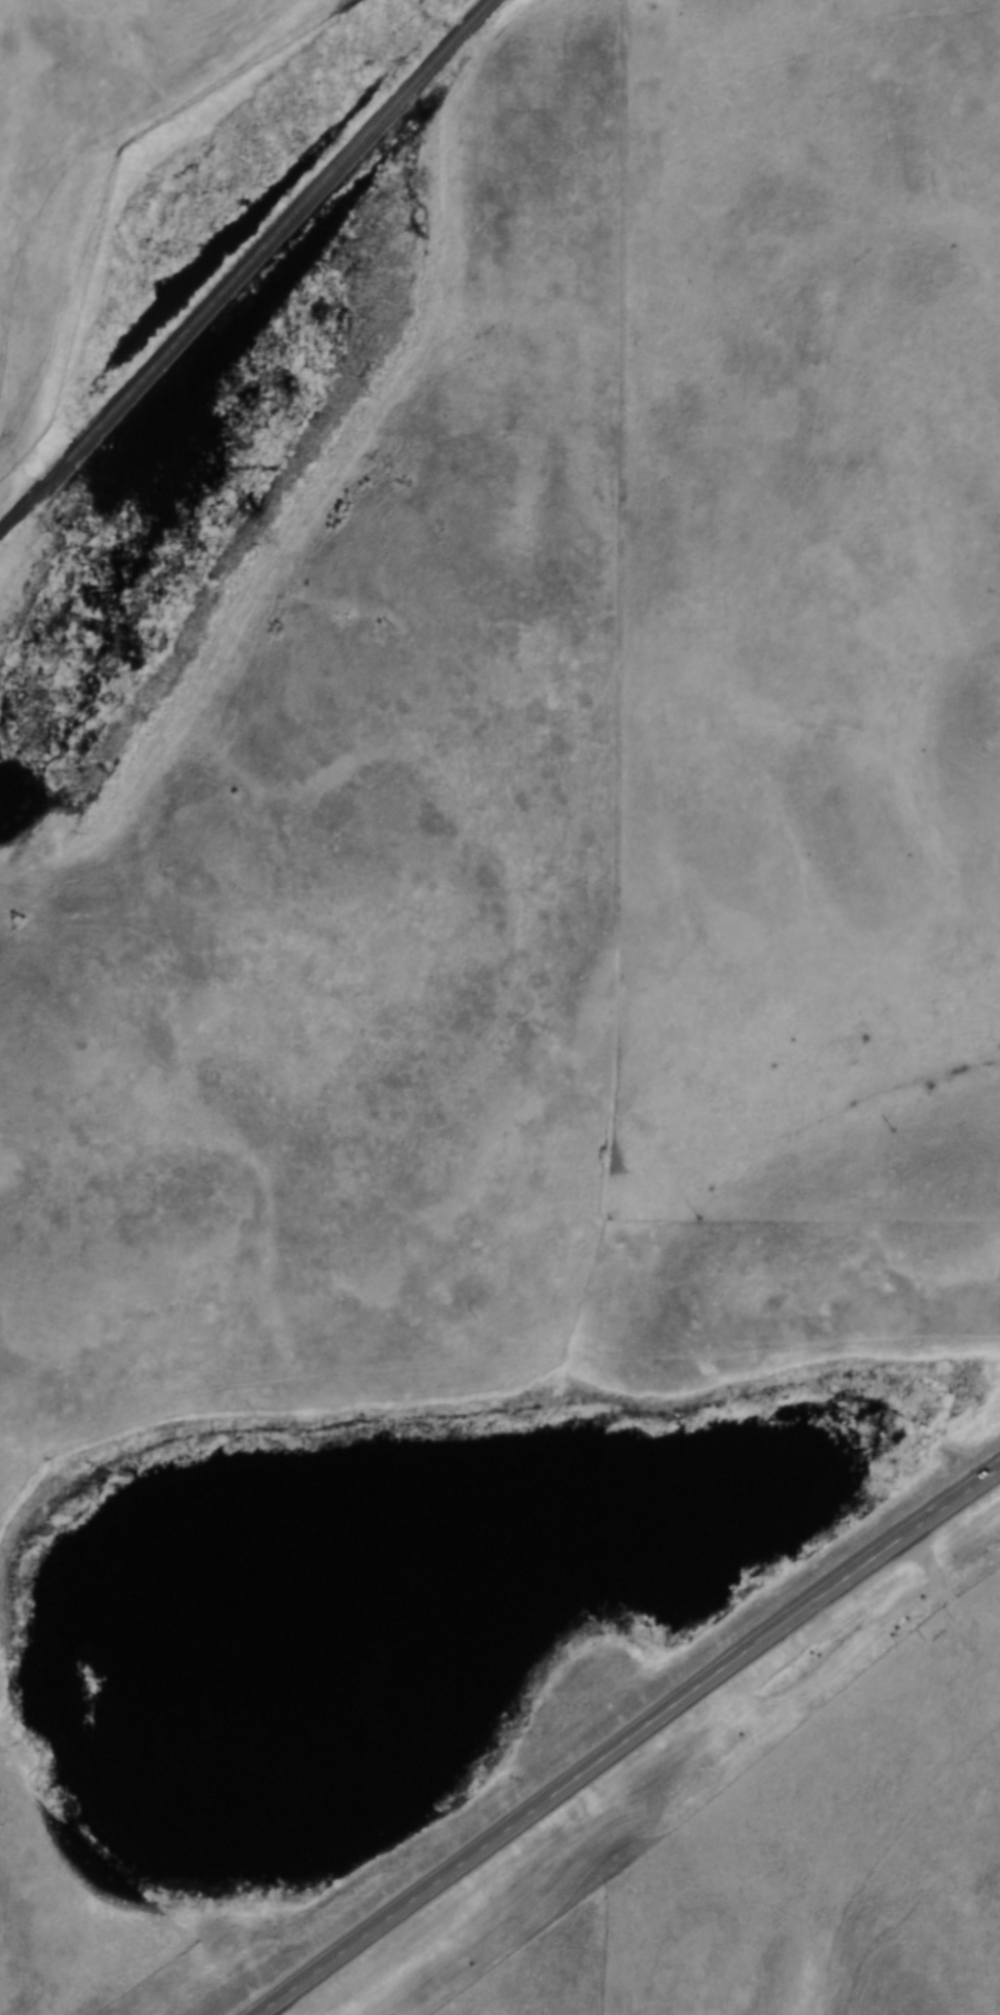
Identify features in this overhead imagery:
railway: (250, 268)
road: (632, 1739)

